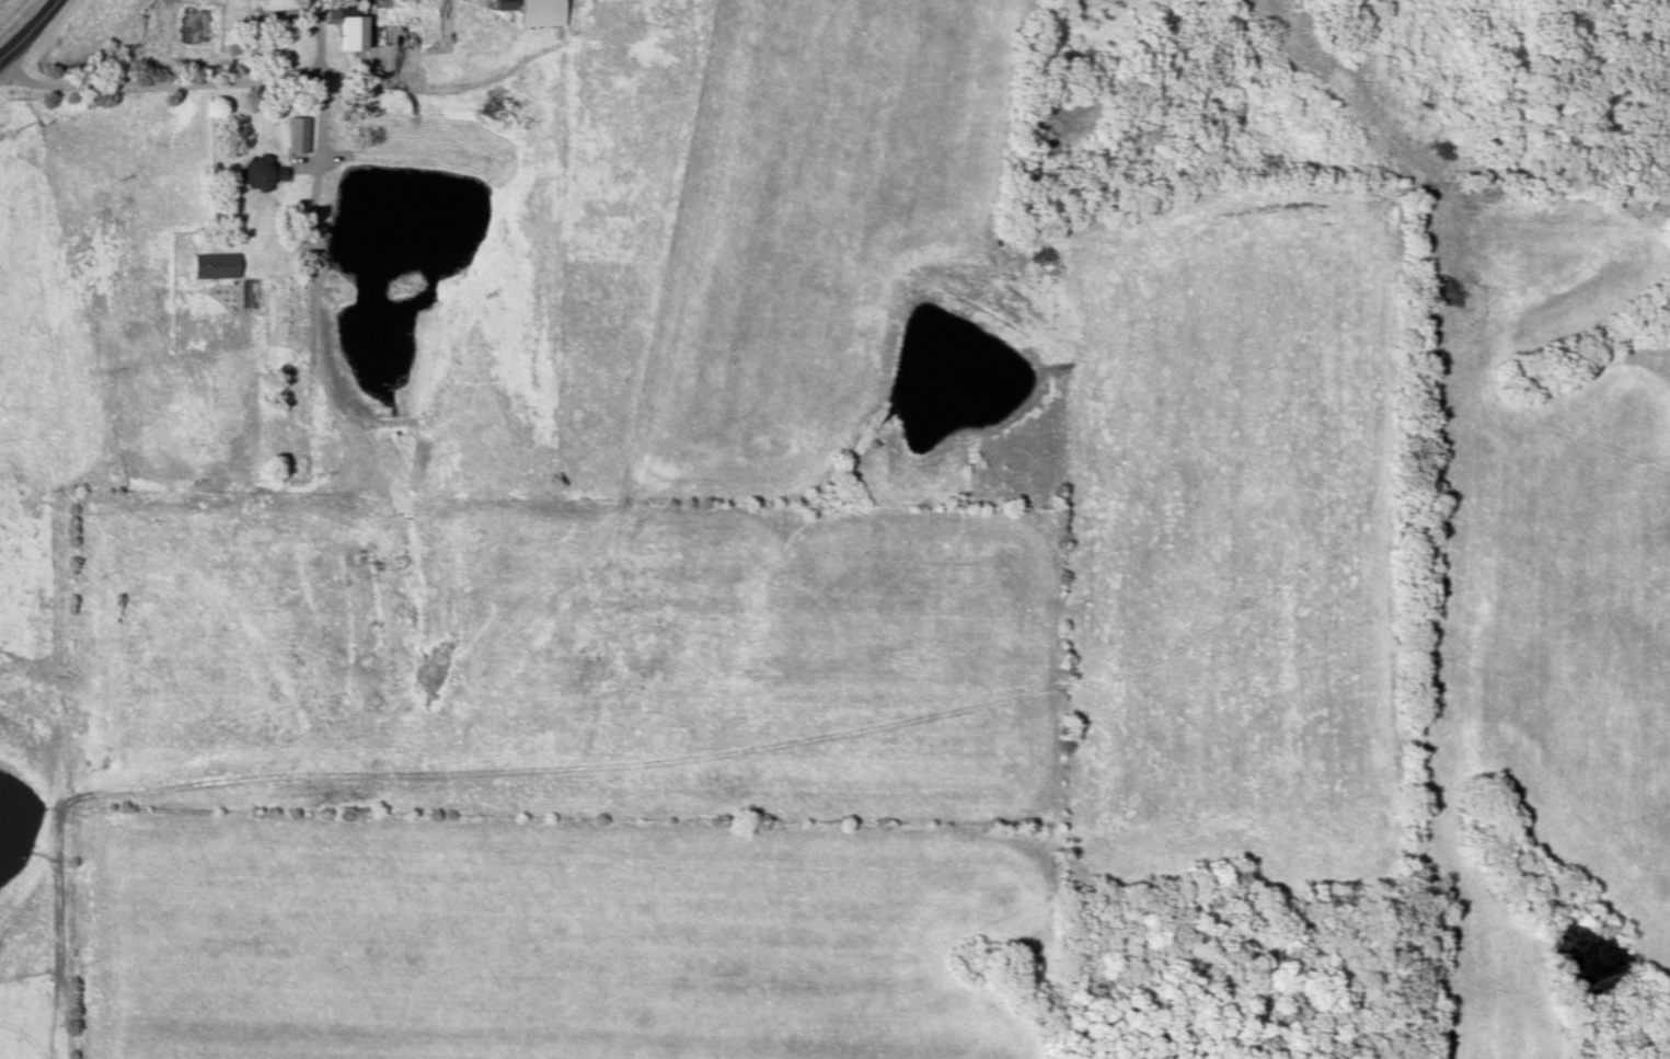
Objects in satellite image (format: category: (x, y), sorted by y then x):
building: (279, 5)
building: (543, 14)
building: (352, 27)
road: (30, 30)
road: (206, 83)
building: (262, 175)
building: (217, 267)

